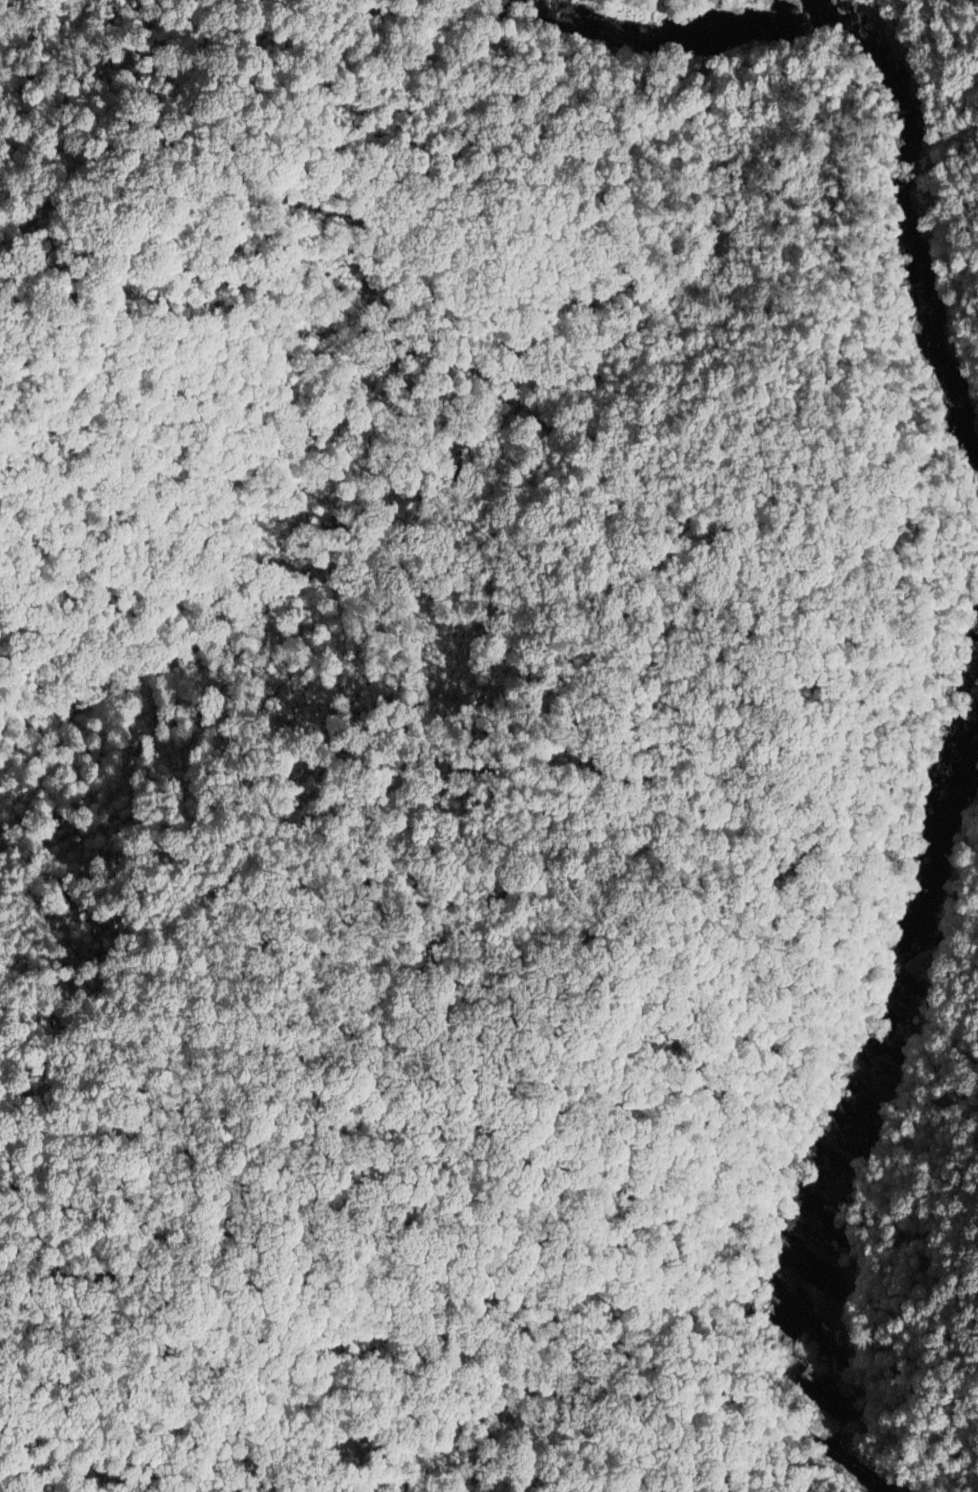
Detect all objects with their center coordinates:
river: (641, 24)
river: (921, 148)
river: (868, 1107)

